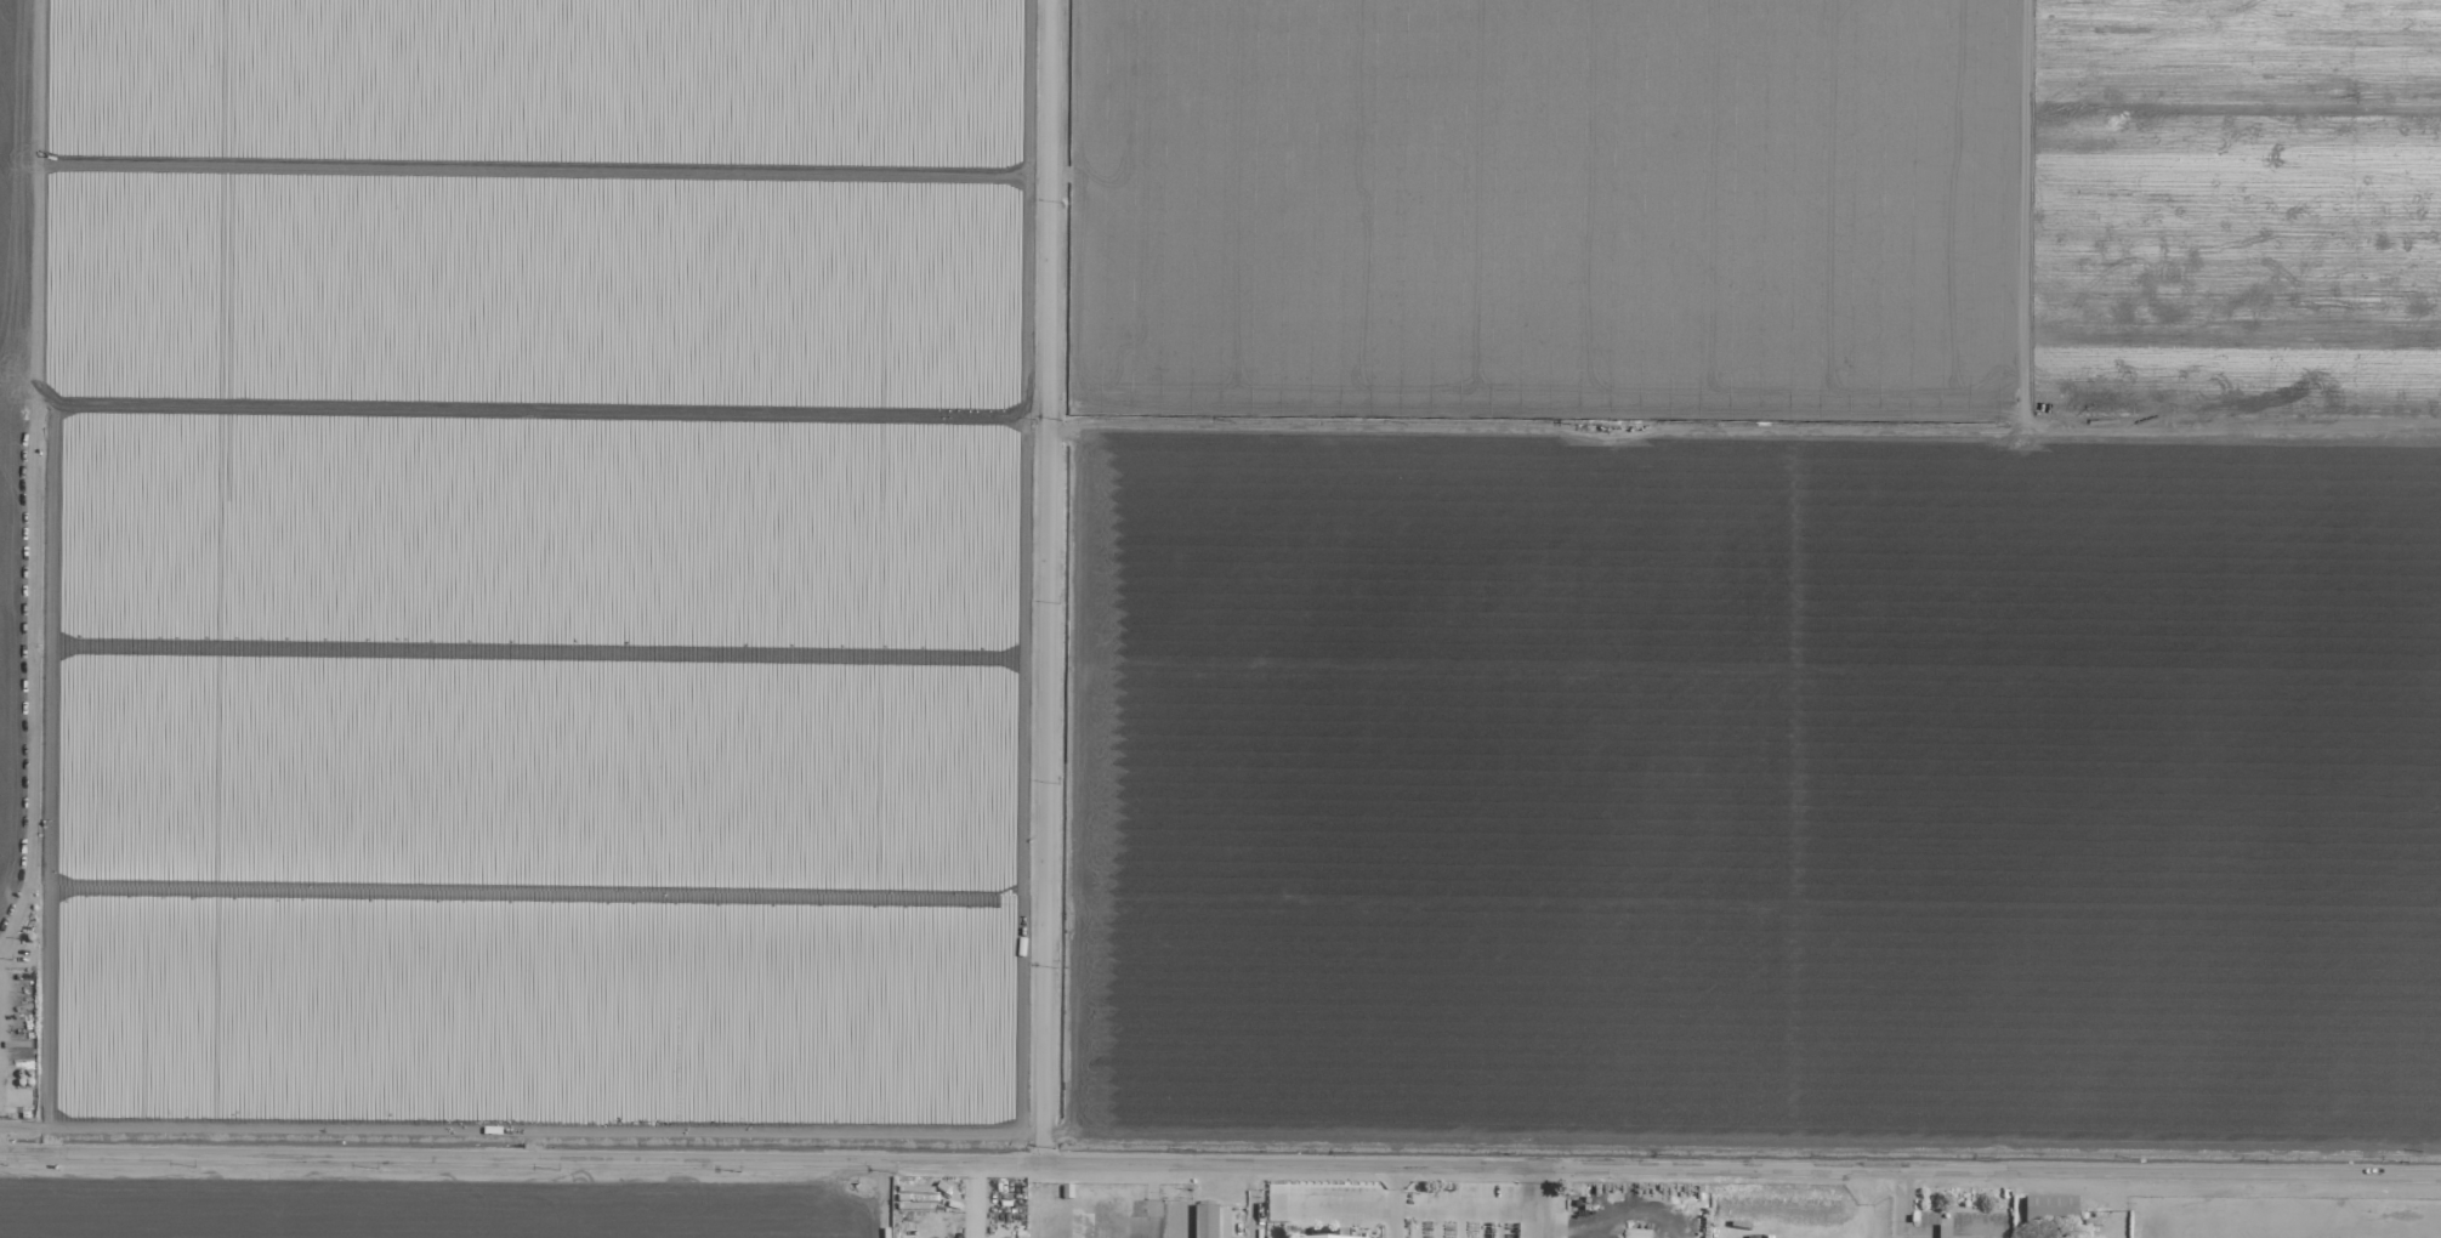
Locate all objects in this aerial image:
crop: (1222, 567)
road: (1048, 583)
road: (1220, 1166)
road: (1395, 1177)
road: (1153, 1202)
road: (1529, 1204)
road: (1900, 1205)
road: (1401, 1208)
road: (1396, 1211)
building: (2050, 1214)
airport: (2009, 1215)
building: (1205, 1222)
building: (1943, 1232)

